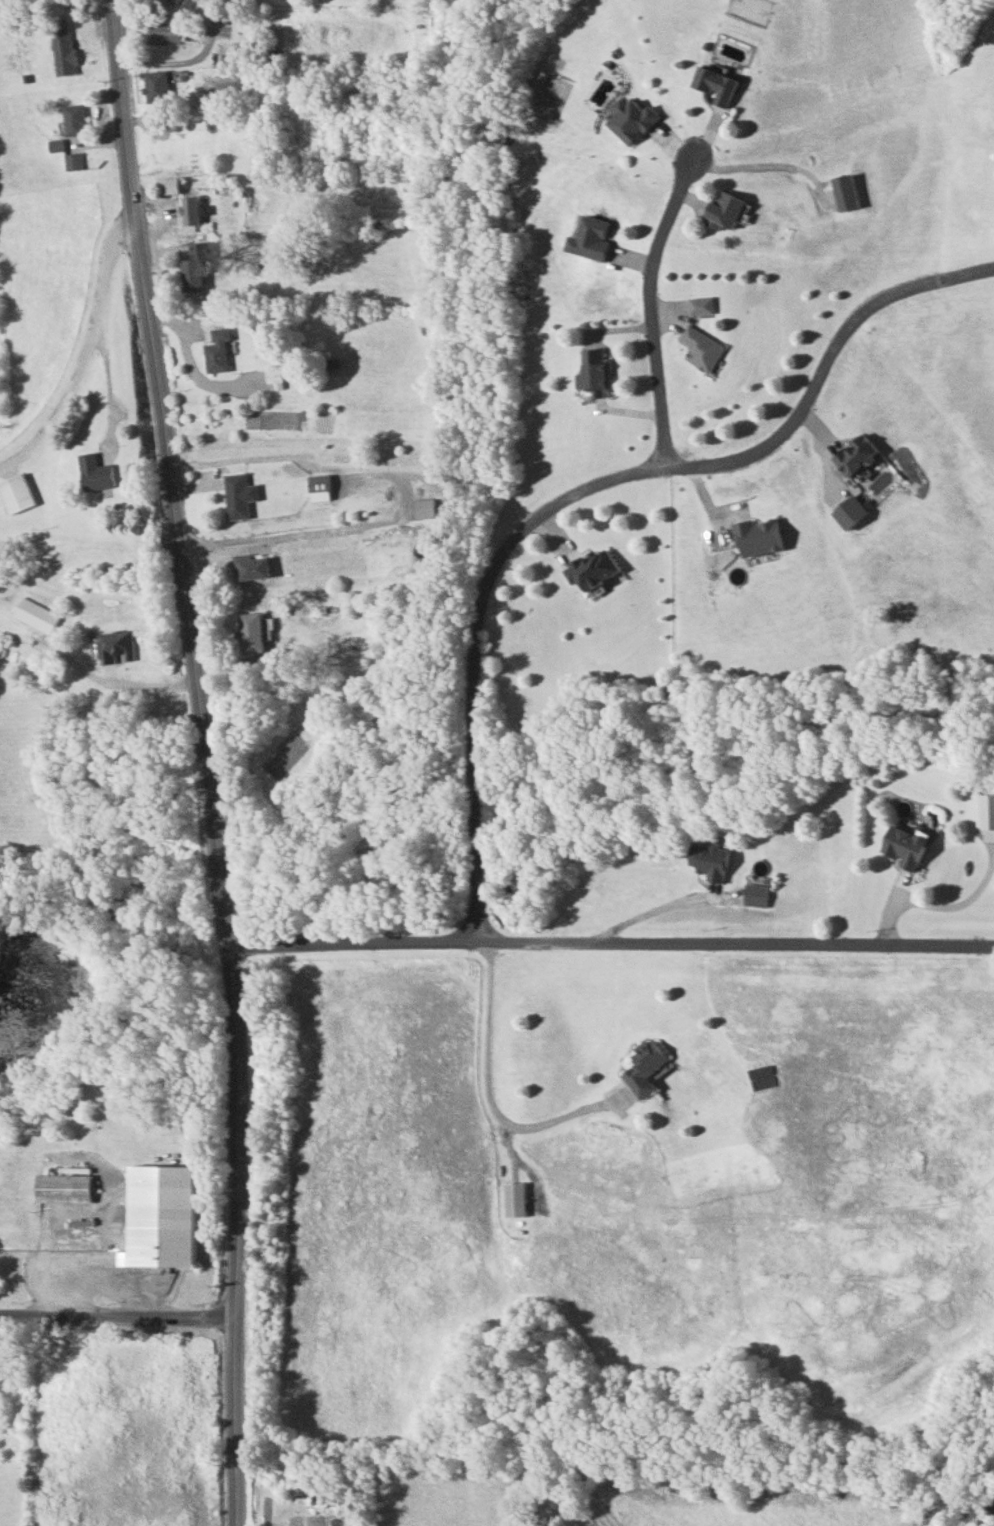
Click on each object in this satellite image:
building: (214, 2)
building: (162, 33)
building: (216, 82)
building: (713, 84)
building: (154, 85)
building: (72, 119)
building: (71, 161)
building: (169, 185)
building: (843, 191)
building: (723, 210)
building: (189, 211)
building: (587, 237)
building: (191, 270)
road: (651, 293)
crop: (43, 294)
building: (698, 305)
road: (103, 334)
building: (215, 348)
building: (699, 348)
building: (591, 371)
building: (271, 378)
road: (65, 394)
building: (854, 454)
building: (93, 472)
road: (168, 472)
building: (316, 483)
building: (13, 492)
building: (236, 496)
building: (756, 536)
building: (249, 566)
building: (590, 568)
road: (487, 588)
building: (33, 615)
building: (249, 632)
building: (111, 644)
road: (108, 682)
building: (903, 846)
building: (709, 860)
building: (754, 895)
road: (614, 937)
building: (645, 1068)
road: (237, 1132)
building: (60, 1187)
building: (513, 1199)
building: (156, 1216)
road: (118, 1312)
road: (236, 1424)

